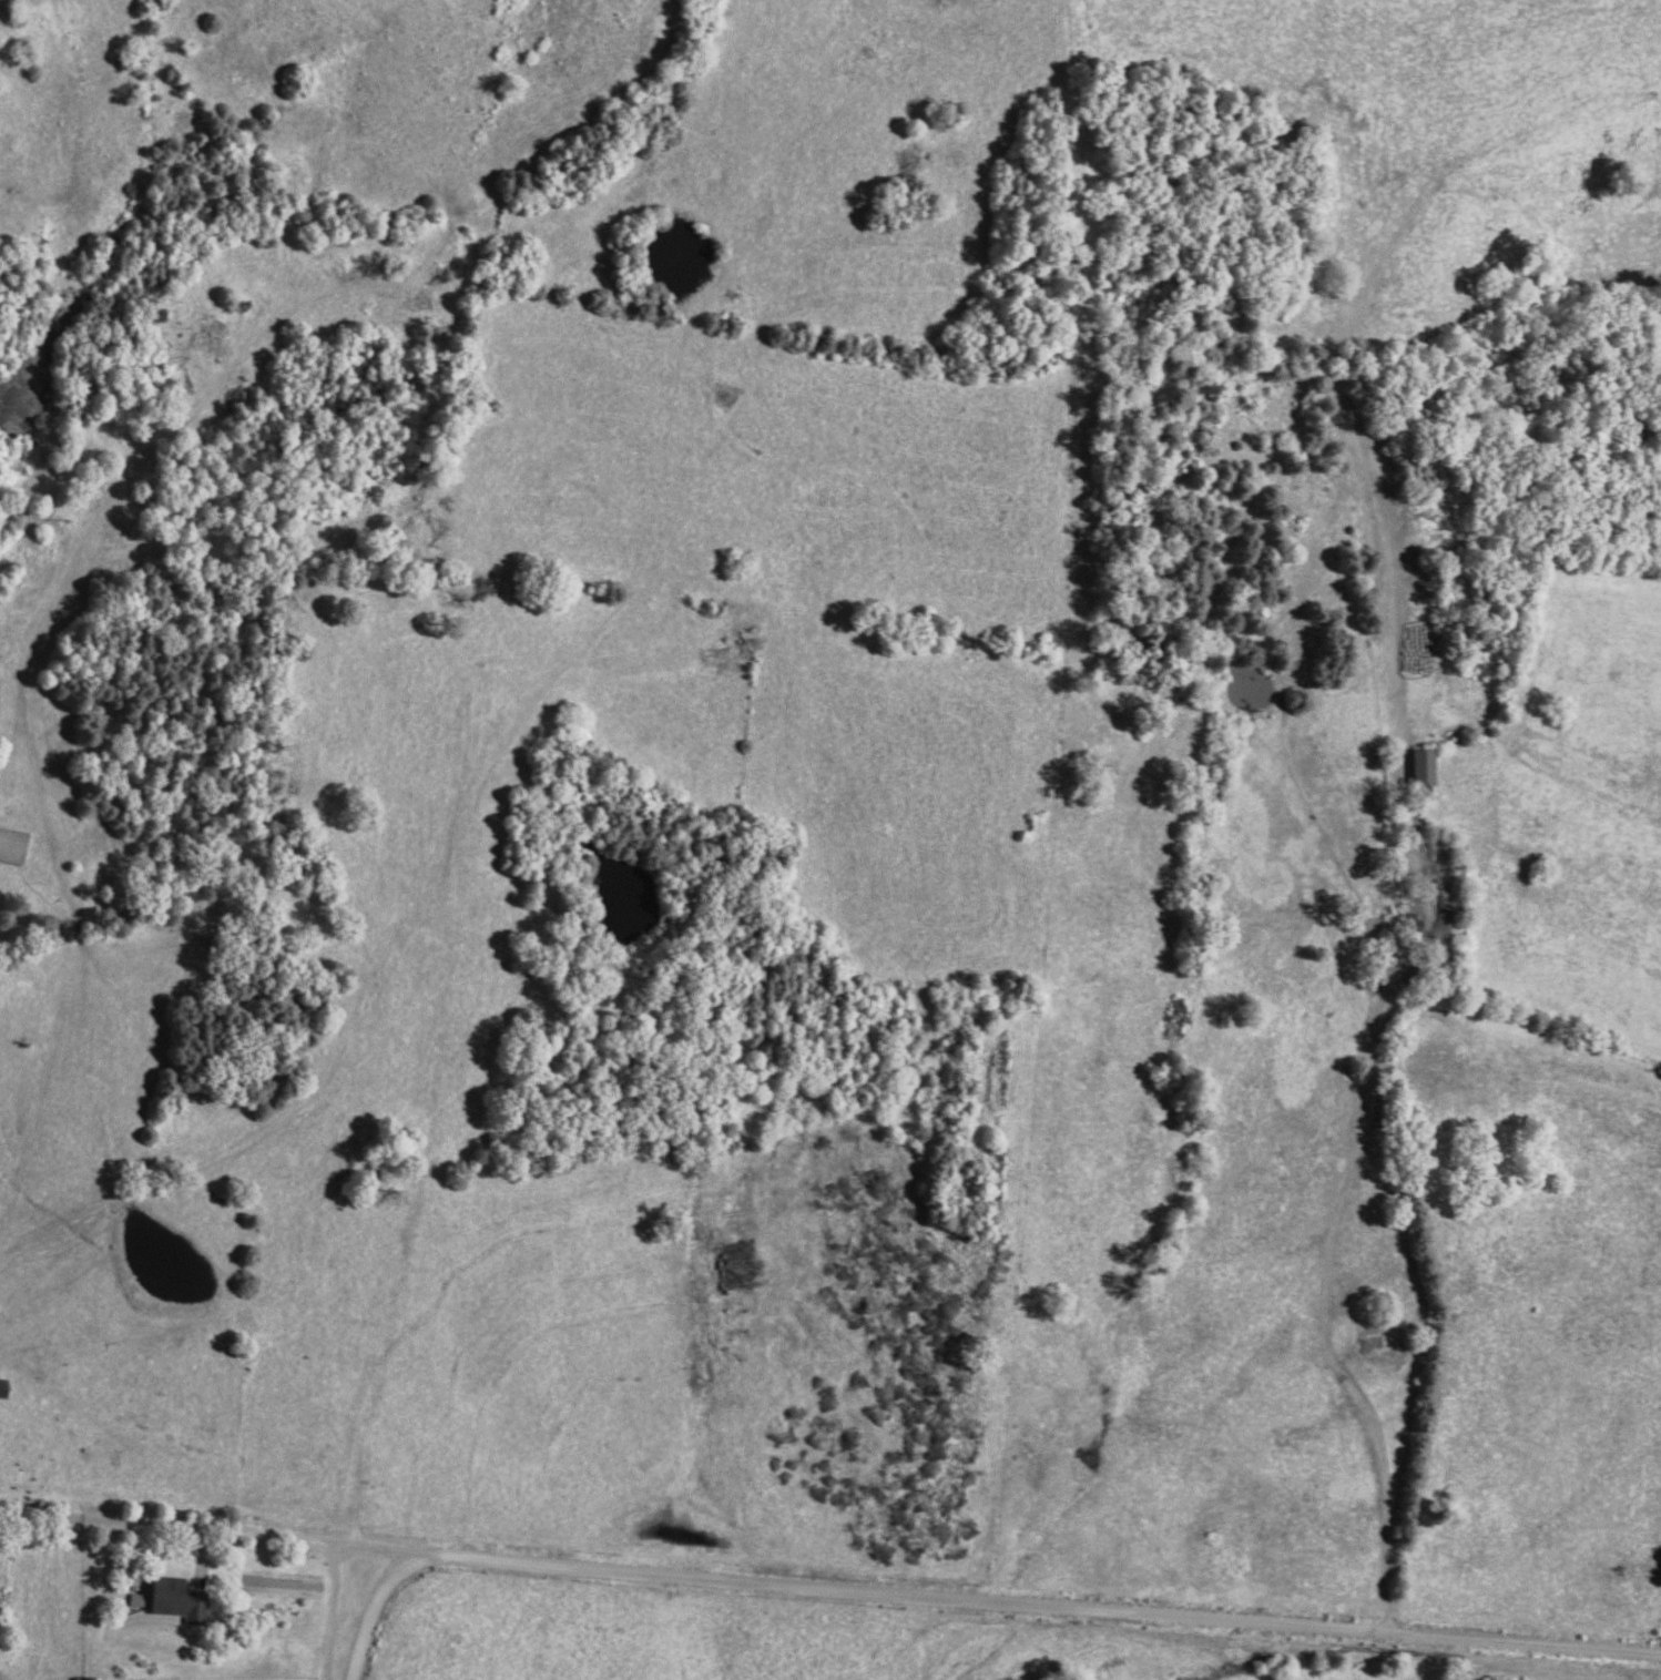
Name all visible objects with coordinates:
building: (1419, 766)
building: (11, 846)
road: (1440, 1310)
road: (218, 1527)
road: (356, 1586)
building: (173, 1598)
road: (967, 1598)
building: (133, 1600)

